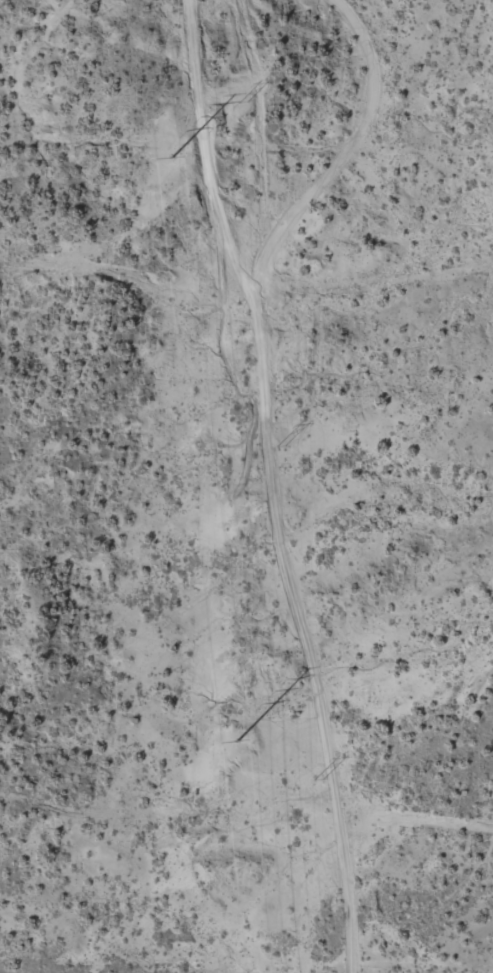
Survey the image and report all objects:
power tower: (243, 102)
power tower: (171, 156)
power tower: (283, 450)
power tower: (237, 741)
power tower: (318, 775)

